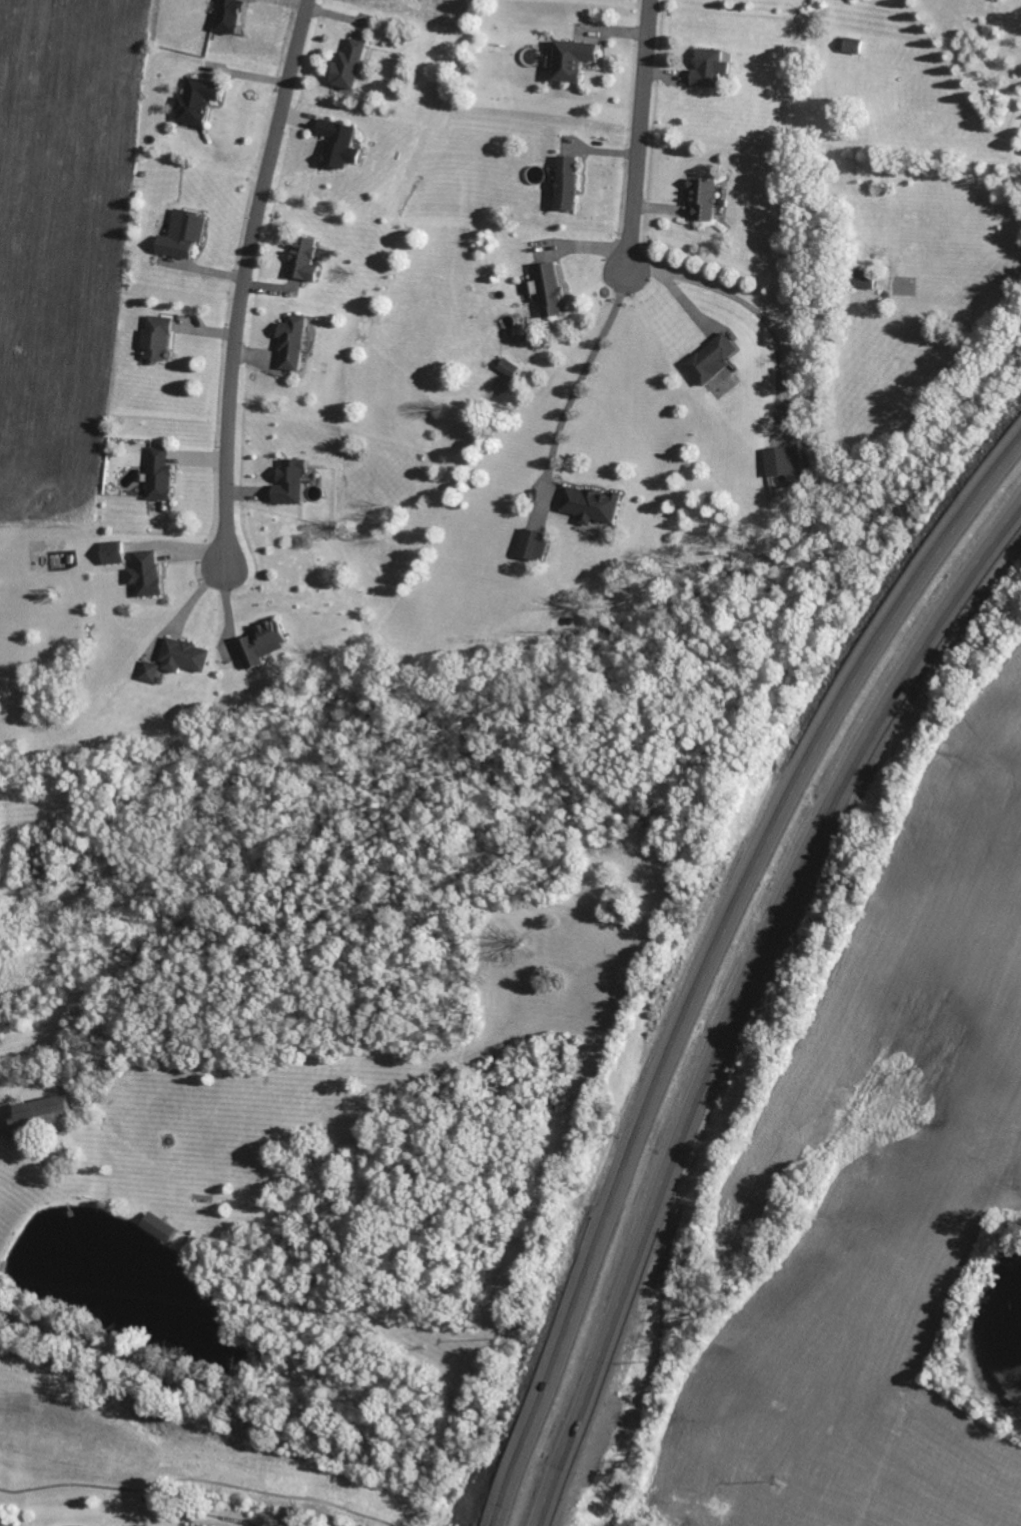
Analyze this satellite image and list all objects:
building: (229, 15)
building: (853, 44)
building: (572, 58)
building: (349, 63)
building: (707, 66)
building: (197, 99)
road: (639, 134)
building: (338, 142)
building: (566, 181)
building: (704, 197)
building: (183, 233)
building: (303, 257)
road: (243, 275)
building: (864, 278)
building: (548, 287)
road: (672, 291)
road: (763, 316)
building: (157, 337)
building: (292, 342)
building: (712, 357)
building: (509, 366)
road: (578, 380)
building: (160, 473)
building: (290, 480)
building: (591, 503)
building: (533, 543)
building: (112, 551)
building: (146, 572)
building: (260, 643)
building: (183, 655)
building: (149, 670)
road: (707, 955)
road: (738, 996)
building: (43, 1114)
road: (2, 1133)
building: (158, 1226)
building: (121, 1525)
building: (205, 1525)

